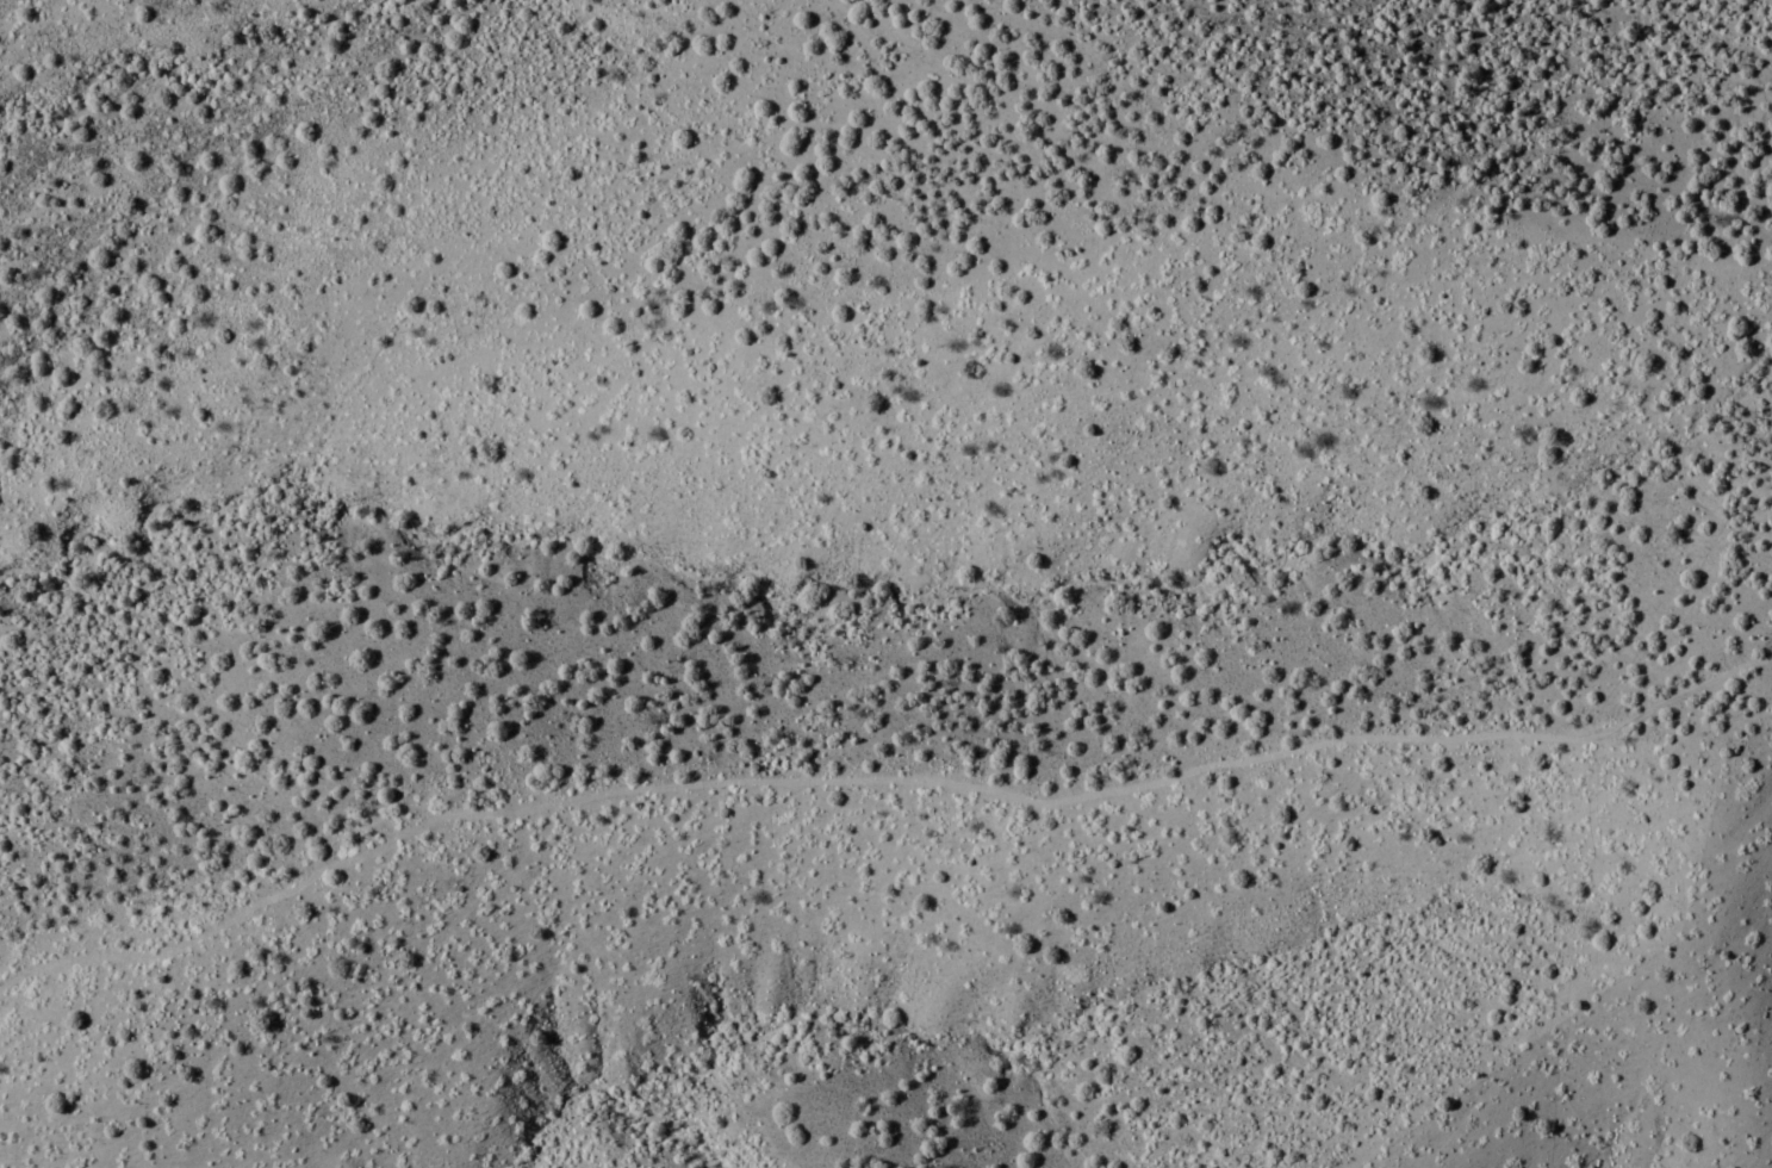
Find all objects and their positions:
road: (872, 746)

